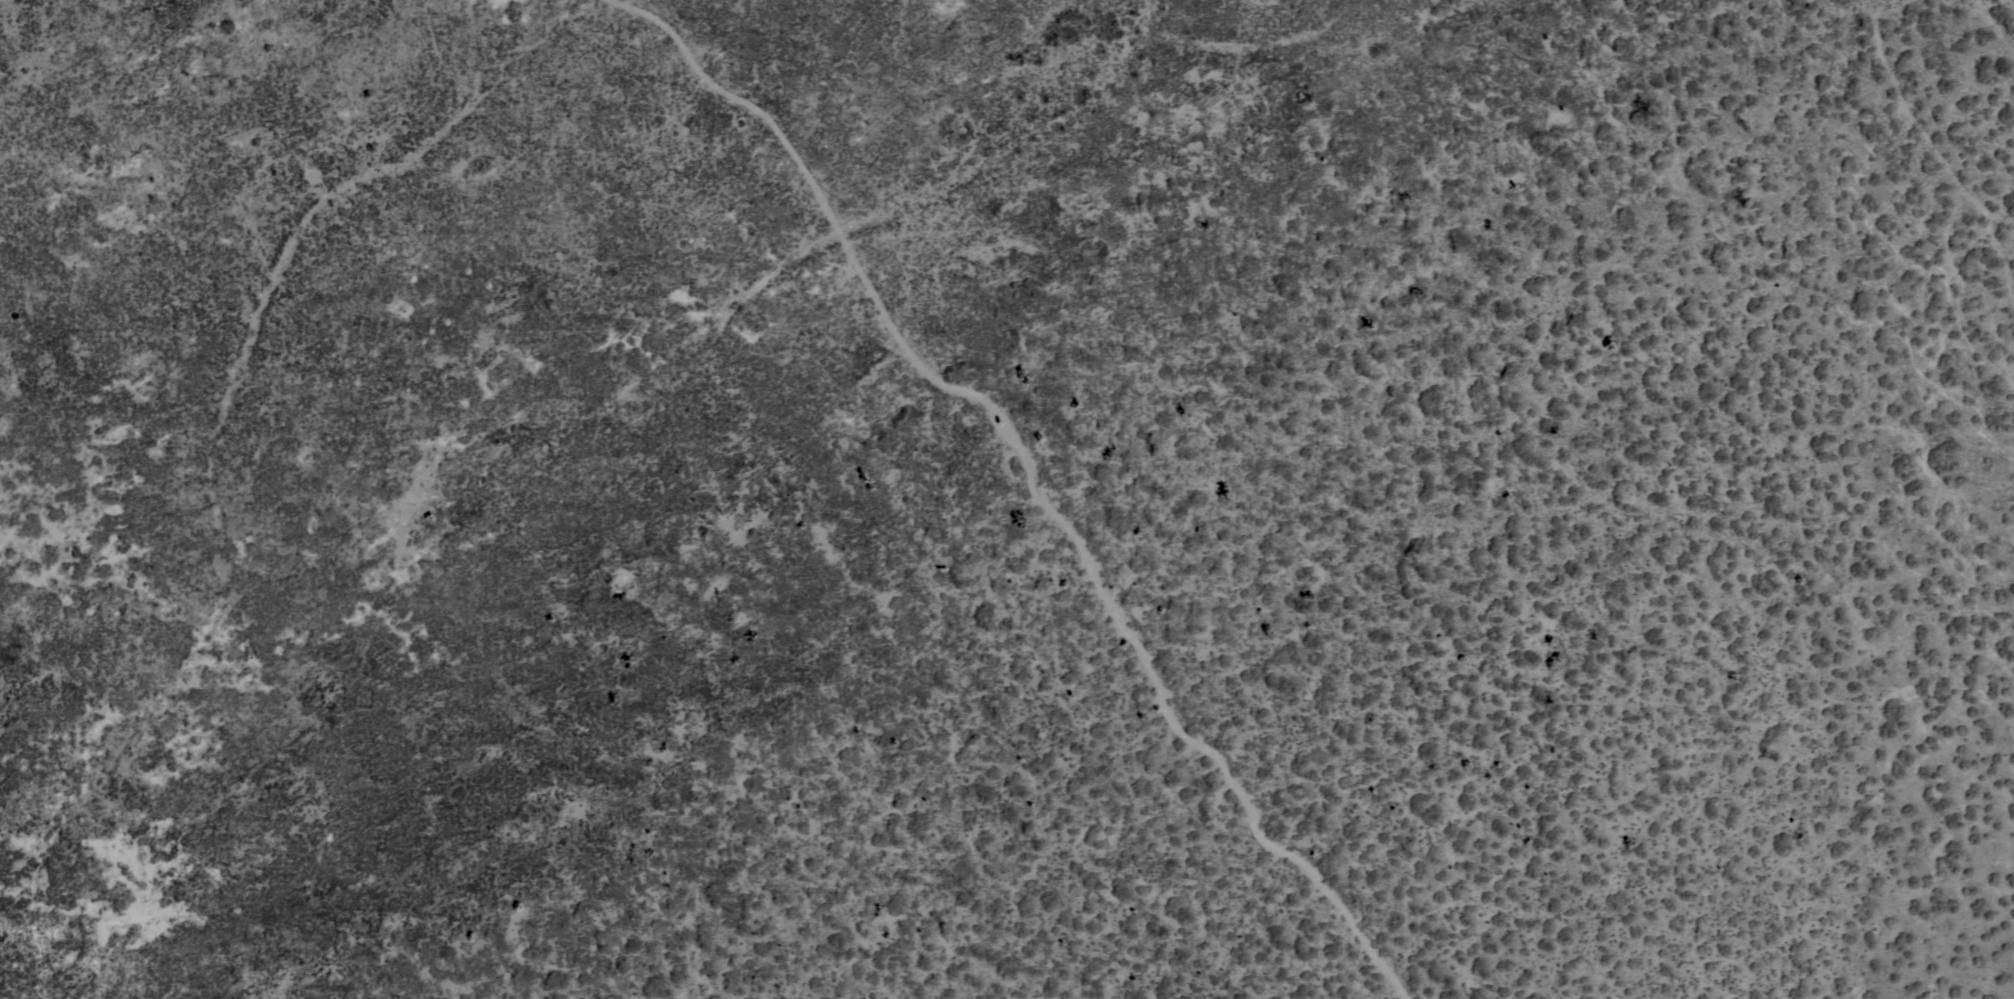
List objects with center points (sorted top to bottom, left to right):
road: (1035, 475)

